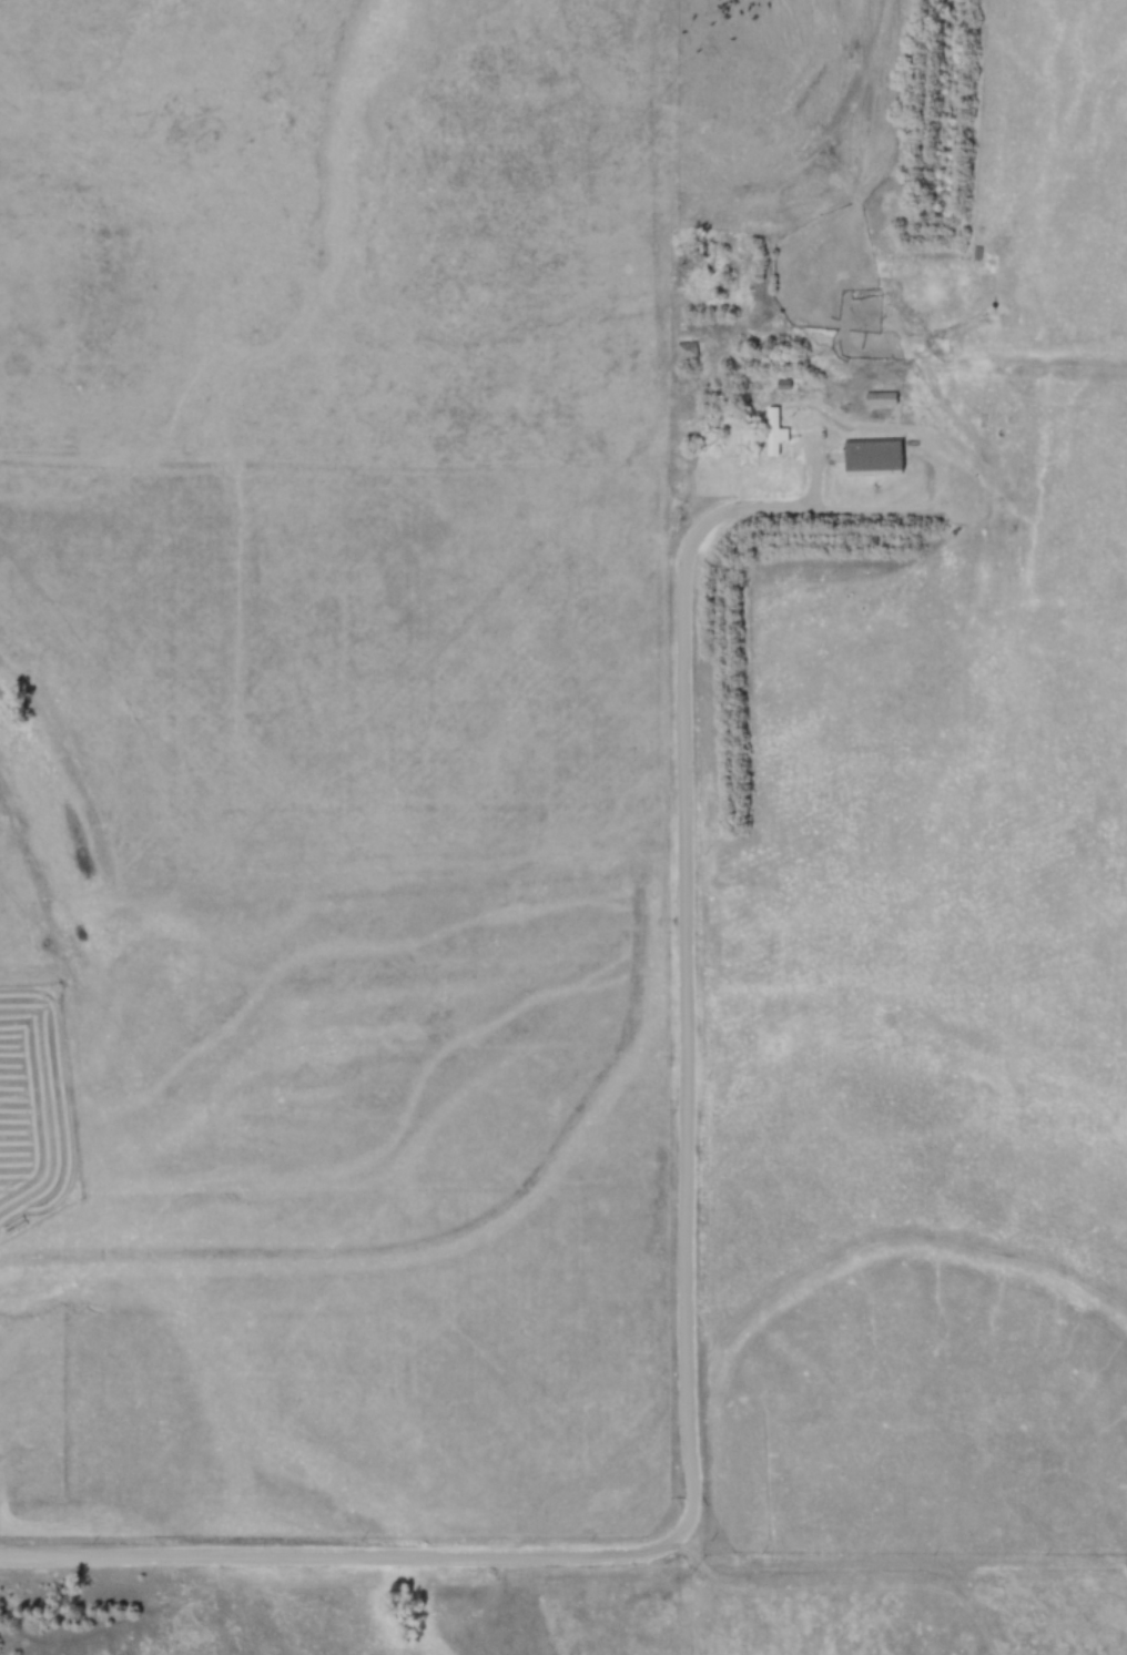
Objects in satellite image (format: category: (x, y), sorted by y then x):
building: (688, 351)
building: (776, 435)
building: (879, 459)
road: (686, 1012)
road: (255, 1556)

